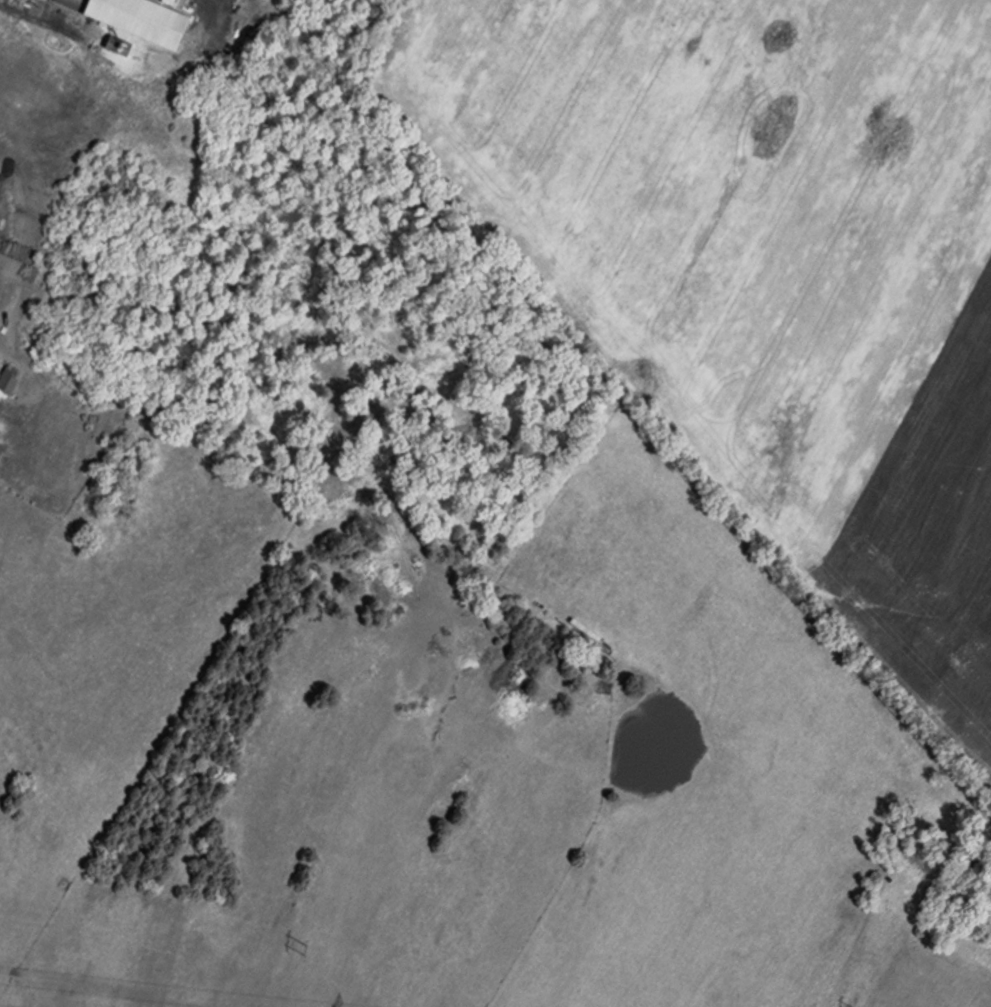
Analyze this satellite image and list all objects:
road: (208, 14)
power tower: (292, 965)

